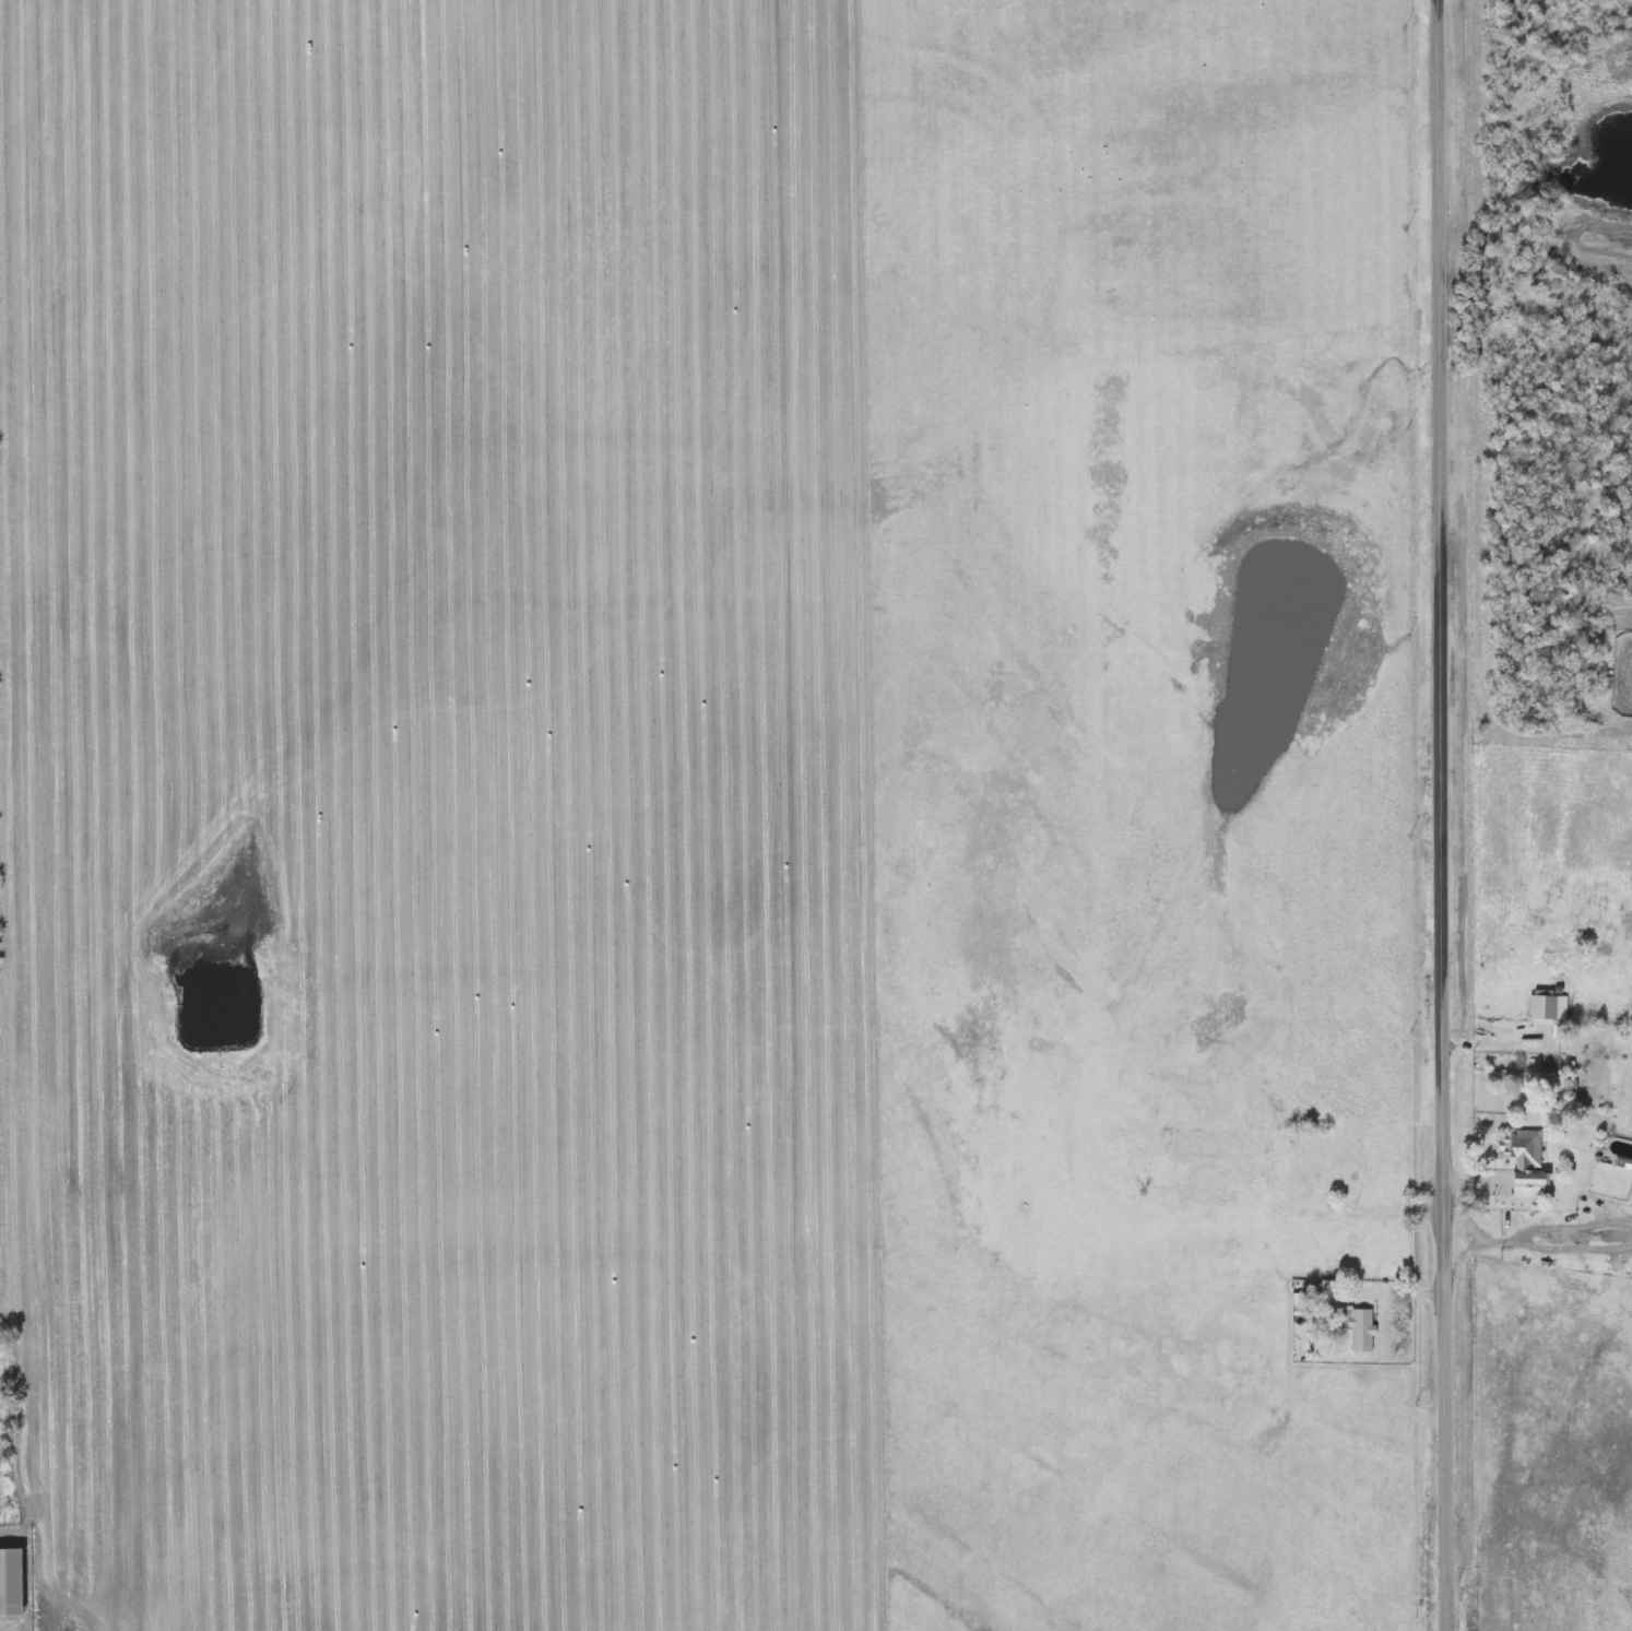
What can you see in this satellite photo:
building: (1613, 741)
road: (1444, 815)
building: (1523, 1156)
building: (1335, 1167)
road: (1387, 1209)
building: (1297, 1217)
road: (1357, 1297)
building: (1360, 1329)
building: (10, 1582)

